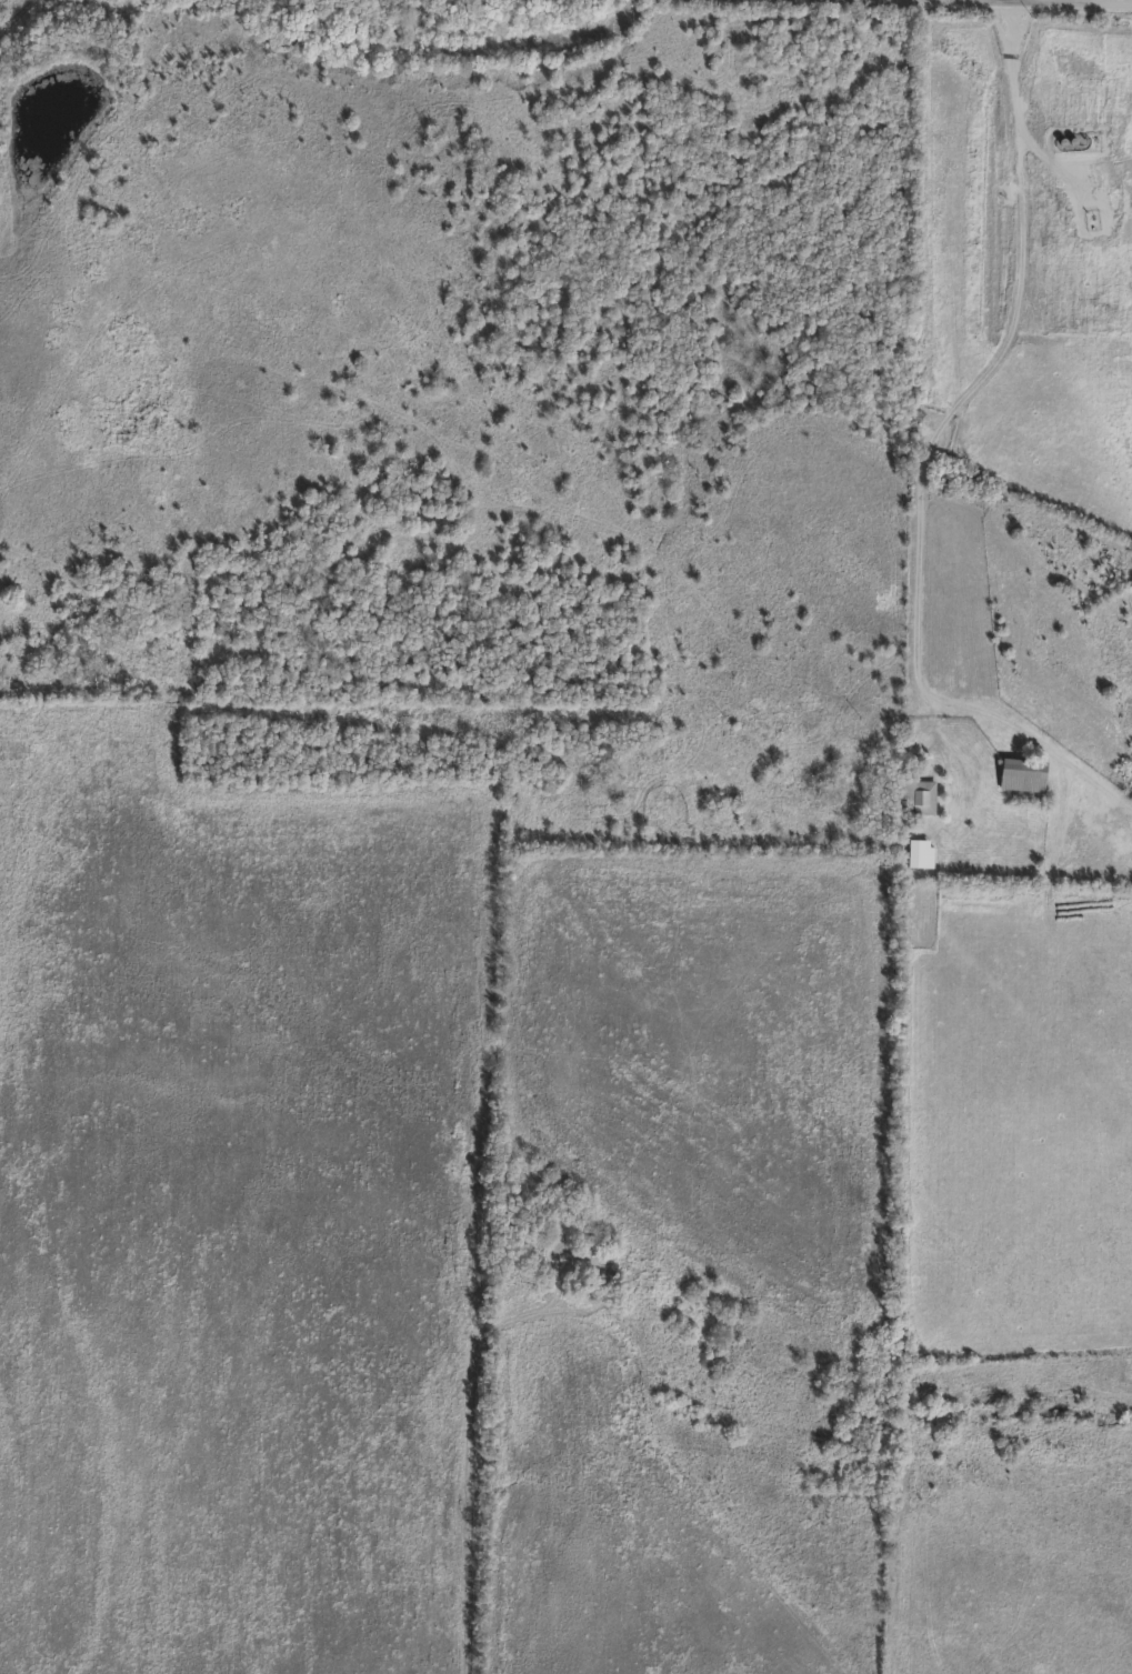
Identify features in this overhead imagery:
road: (1120, 0)
road: (989, 368)
building: (1022, 779)
building: (919, 802)
building: (916, 856)

